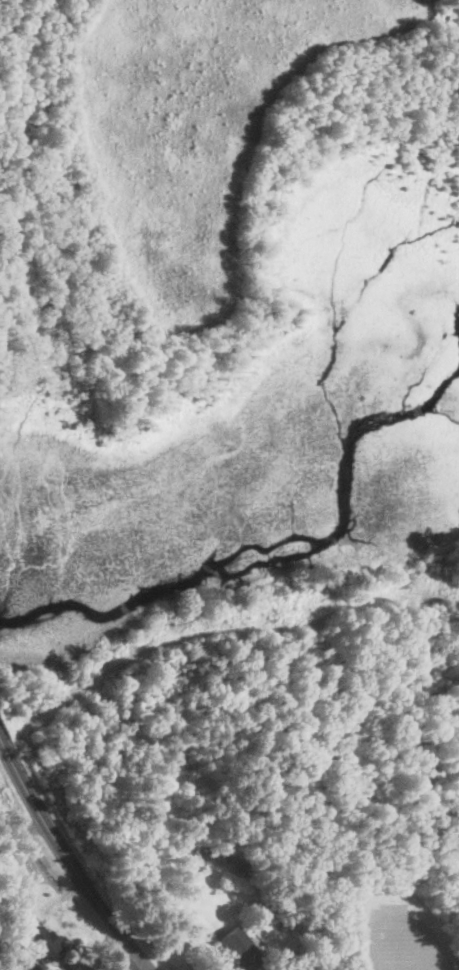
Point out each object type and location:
road: (22, 834)
road: (19, 858)
road: (69, 858)
building: (214, 860)
building: (44, 943)
building: (240, 950)
building: (303, 950)
building: (295, 954)

